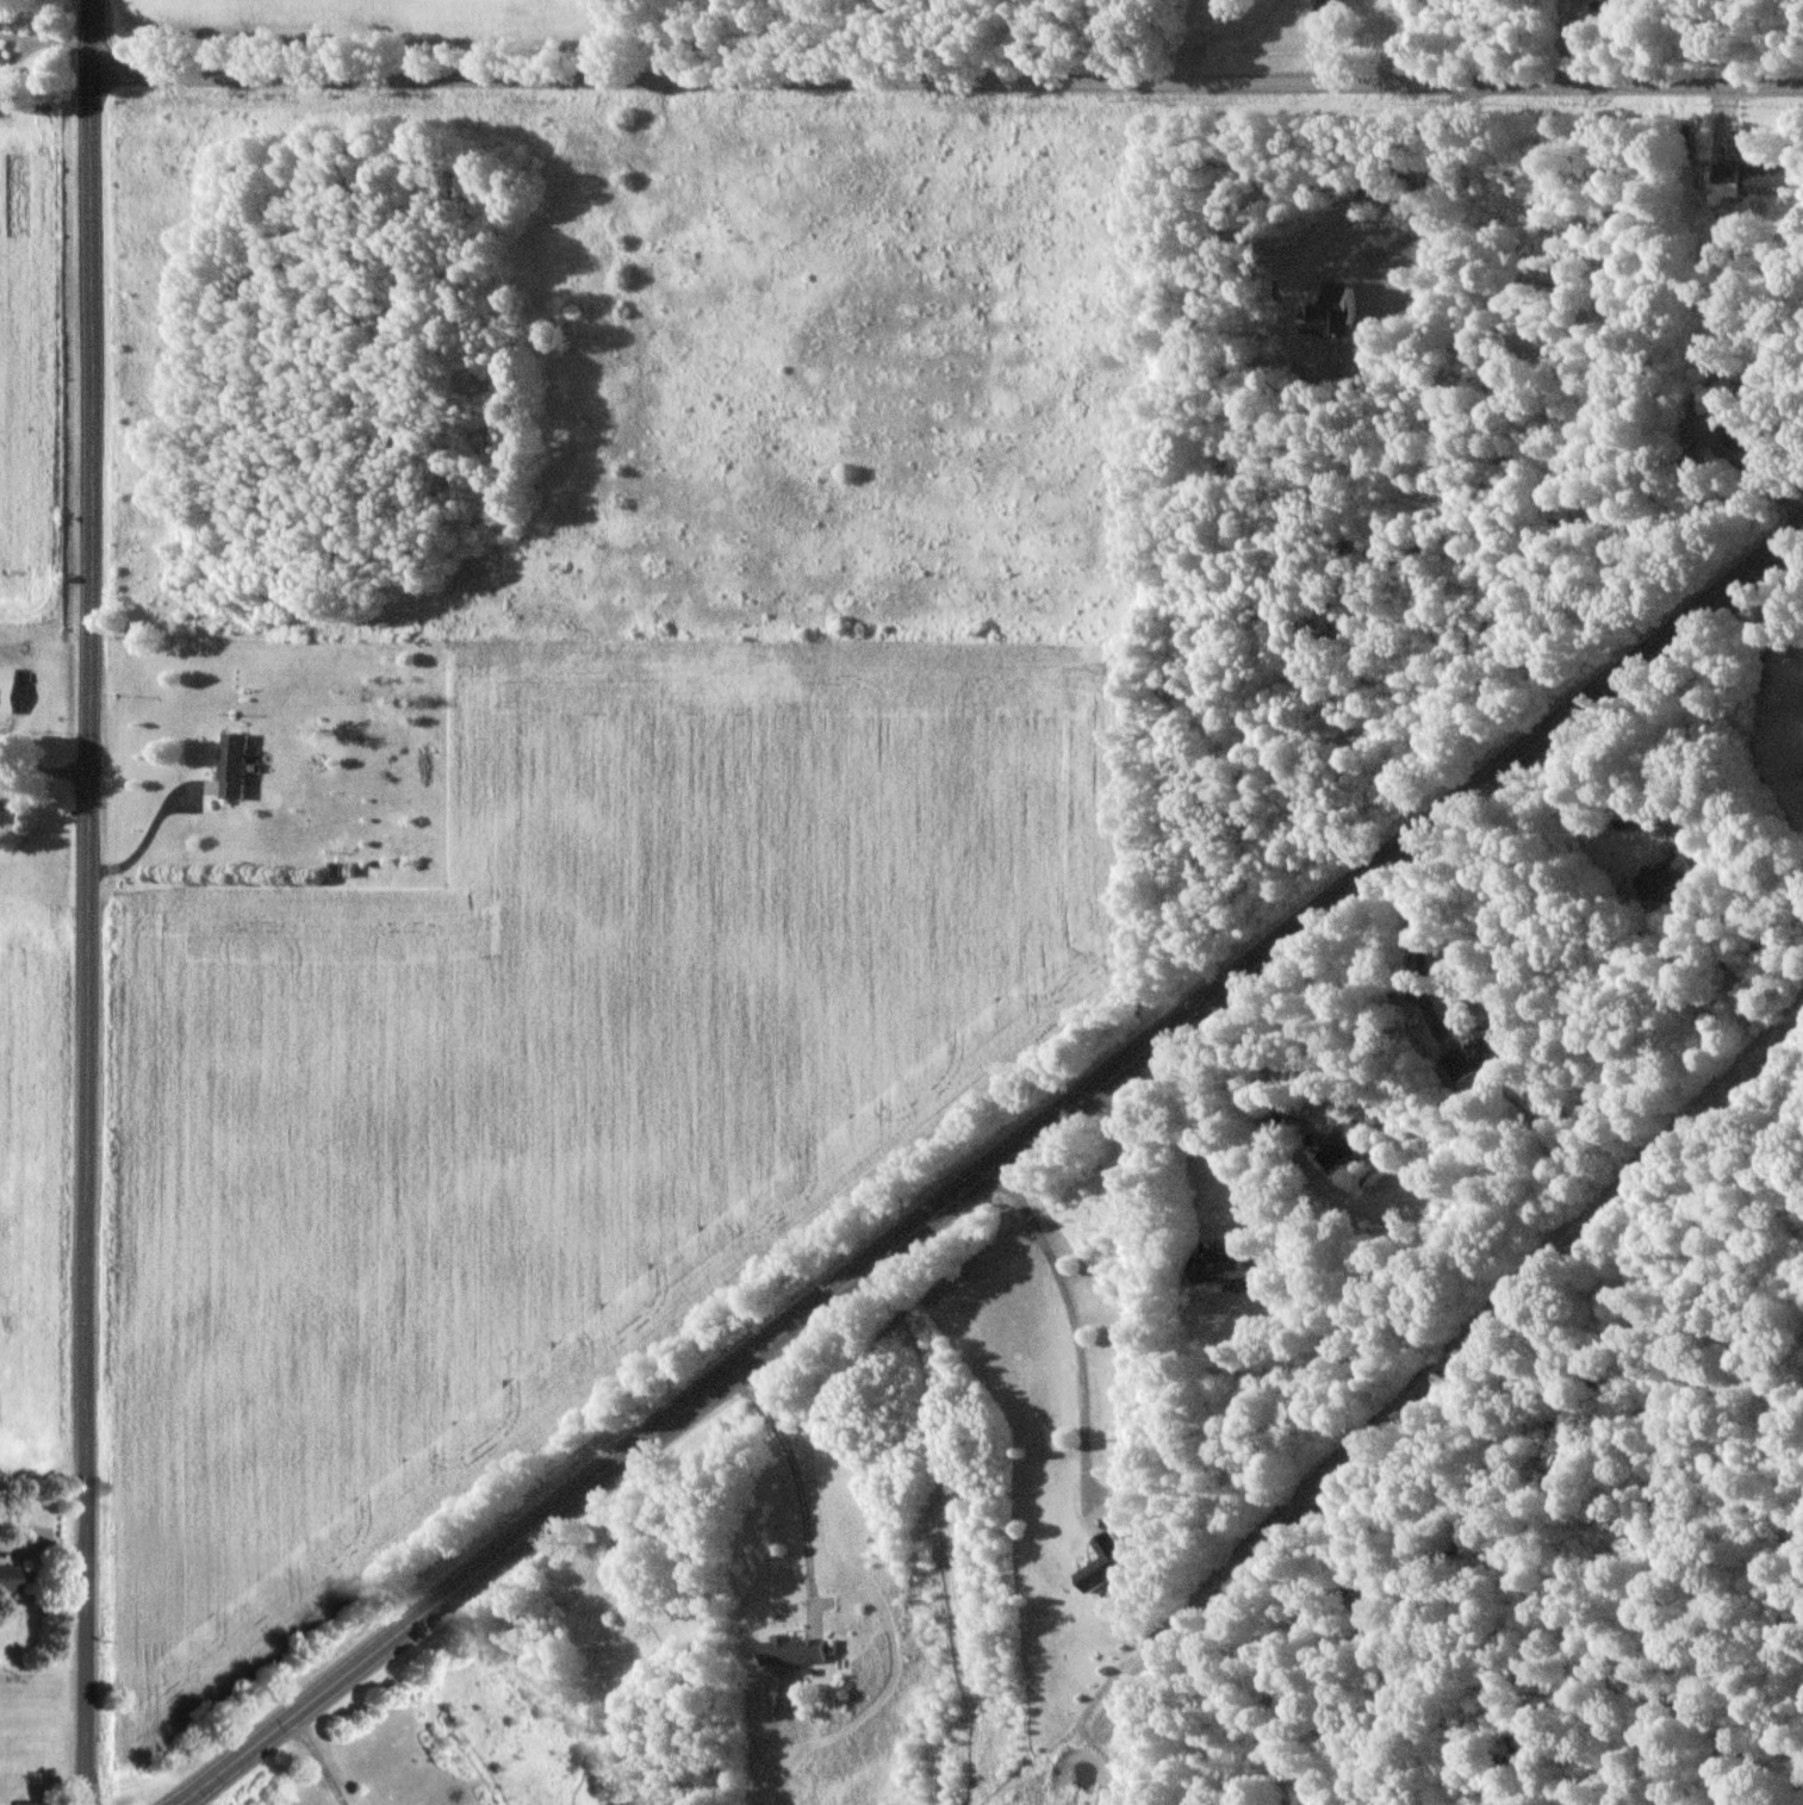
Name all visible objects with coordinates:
building: (1650, 2)
building: (1326, 7)
building: (4, 17)
road: (946, 77)
building: (1748, 178)
building: (1733, 419)
road: (1764, 631)
building: (5, 691)
building: (229, 766)
road: (43, 774)
road: (1588, 822)
road: (145, 840)
building: (1670, 871)
road: (86, 902)
road: (1413, 950)
building: (1481, 1051)
road: (1230, 1095)
road: (1182, 1134)
building: (1347, 1145)
road: (989, 1166)
building: (1219, 1269)
road: (1071, 1332)
road: (796, 1486)
building: (1102, 1564)
building: (5, 1579)
building: (792, 1652)
road: (318, 1759)
building: (20, 1803)

